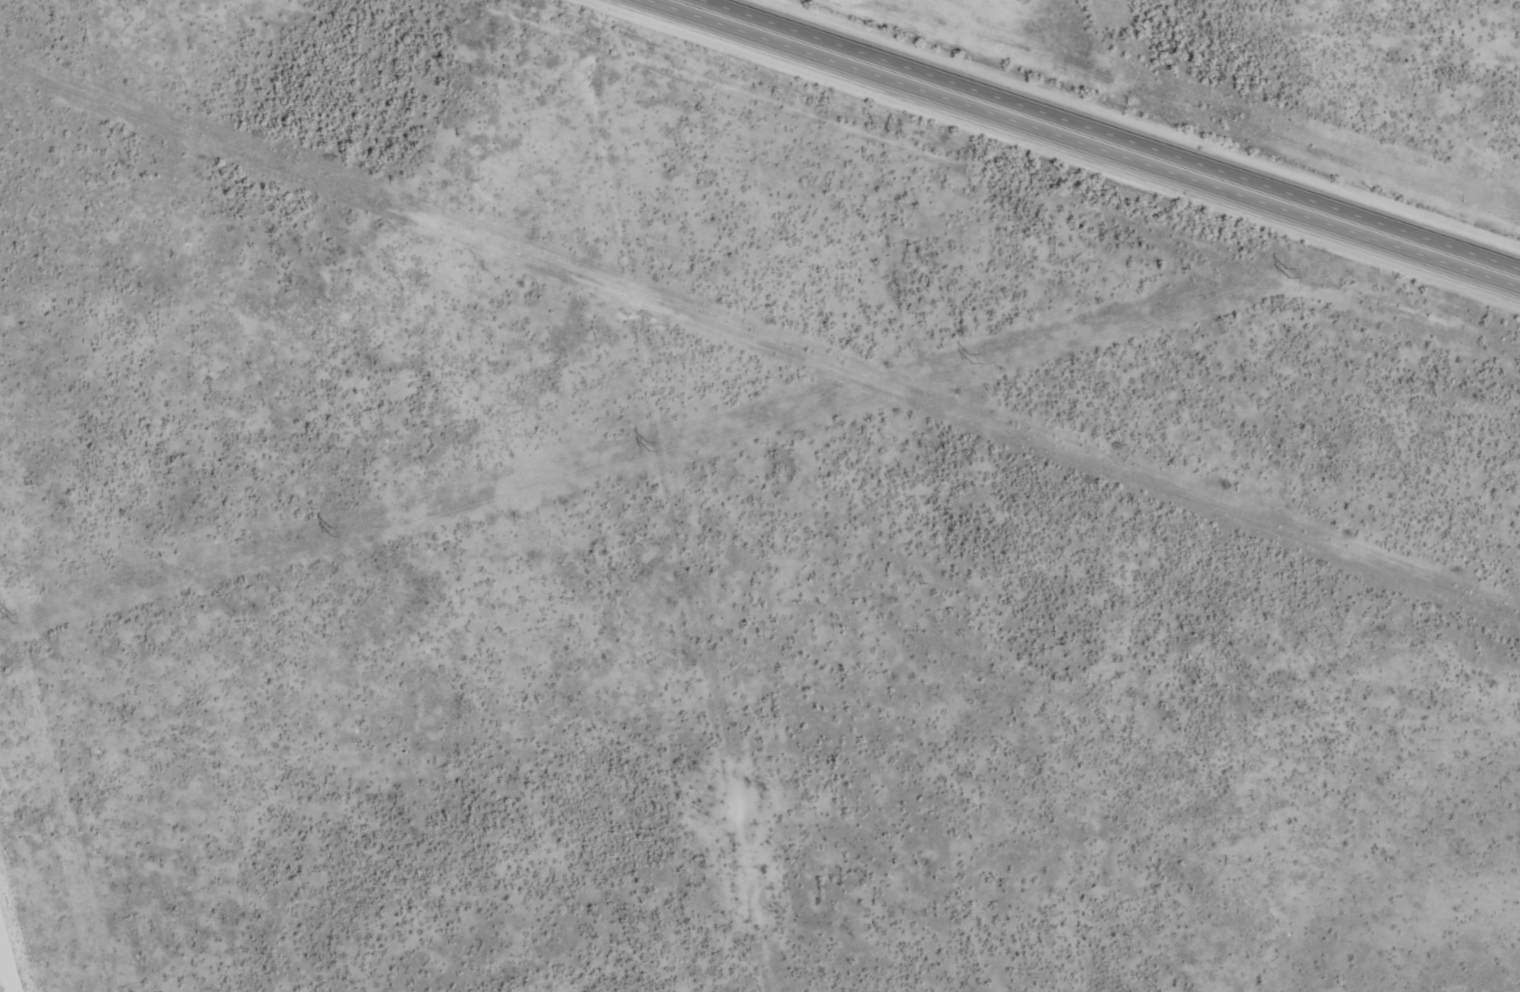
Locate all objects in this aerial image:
road: (1106, 131)
power tower: (1286, 273)
power tower: (969, 358)
power tower: (646, 446)
power tower: (330, 532)
power tower: (10, 618)
road: (32, 869)
road: (30, 969)

